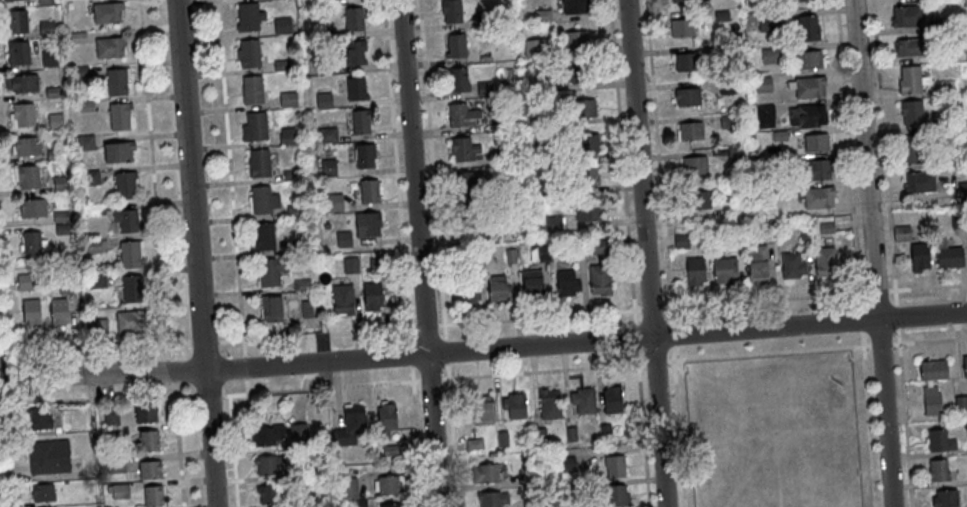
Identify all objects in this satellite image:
building: (273, 0)
building: (342, 0)
building: (14, 1)
building: (928, 1)
building: (687, 2)
building: (795, 2)
building: (44, 3)
building: (324, 3)
building: (574, 8)
building: (451, 13)
building: (107, 15)
building: (542, 17)
building: (721, 18)
building: (906, 19)
building: (248, 20)
building: (485, 21)
building: (353, 22)
building: (767, 23)
building: (16, 24)
building: (945, 27)
building: (281, 28)
building: (46, 31)
building: (682, 31)
building: (807, 31)
building: (327, 36)
building: (78, 39)
building: (575, 43)
building: (456, 49)
building: (109, 50)
building: (534, 50)
building: (910, 50)
building: (713, 52)
building: (17, 56)
building: (353, 56)
building: (248, 57)
building: (770, 58)
building: (50, 63)
building: (809, 63)
building: (686, 65)
building: (281, 67)
building: (328, 69)
building: (80, 74)
building: (581, 77)
building: (457, 82)
building: (911, 83)
building: (115, 85)
building: (545, 85)
building: (24, 86)
building: (763, 87)
building: (726, 89)
building: (806, 89)
building: (944, 90)
building: (484, 91)
building: (356, 92)
building: (252, 93)
building: (53, 94)
building: (687, 100)
building: (287, 102)
building: (324, 103)
building: (85, 108)
building: (582, 112)
building: (911, 115)
building: (23, 117)
building: (461, 118)
building: (804, 118)
building: (119, 119)
building: (764, 119)
building: (55, 123)
building: (360, 124)
building: (511, 124)
building: (728, 124)
building: (940, 128)
building: (254, 130)
building: (690, 135)
building: (326, 137)
building: (287, 138)
building: (780, 138)
building: (85, 144)
road: (883, 144)
building: (586, 146)
building: (815, 146)
building: (27, 149)
building: (462, 151)
building: (913, 151)
building: (551, 152)
road: (848, 152)
building: (118, 154)
building: (508, 155)
building: (53, 156)
building: (735, 157)
building: (364, 159)
road: (657, 159)
road: (622, 160)
building: (944, 162)
building: (259, 166)
building: (328, 166)
road: (432, 168)
road: (396, 169)
building: (694, 169)
building: (816, 172)
road: (229, 177)
building: (290, 177)
road: (153, 179)
building: (28, 180)
building: (90, 180)
building: (585, 180)
building: (60, 185)
building: (919, 185)
building: (465, 186)
building: (124, 188)
building: (548, 189)
building: (963, 191)
building: (501, 192)
building: (369, 195)
building: (818, 200)
building: (263, 203)
building: (697, 203)
building: (333, 209)
building: (32, 211)
building: (295, 213)
building: (84, 214)
building: (587, 215)
building: (60, 218)
building: (467, 221)
building: (126, 223)
building: (553, 224)
building: (367, 227)
building: (826, 230)
building: (61, 231)
building: (804, 234)
building: (902, 236)
building: (767, 237)
building: (263, 240)
building: (733, 240)
building: (348, 241)
building: (681, 243)
building: (32, 247)
building: (300, 248)
building: (578, 252)
road: (195, 253)
road: (418, 253)
road: (645, 253)
road: (873, 253)
building: (543, 255)
building: (129, 257)
building: (510, 257)
building: (919, 260)
building: (464, 261)
building: (949, 261)
building: (756, 264)
building: (824, 264)
building: (349, 268)
building: (376, 268)
building: (791, 268)
building: (271, 273)
building: (599, 273)
building: (724, 273)
building: (694, 274)
building: (97, 283)
building: (24, 284)
building: (531, 285)
building: (66, 286)
building: (566, 286)
road: (927, 286)
building: (301, 287)
road: (876, 289)
building: (496, 290)
building: (131, 291)
building: (469, 292)
road: (895, 296)
road: (763, 298)
building: (371, 300)
building: (342, 302)
road: (650, 306)
road: (4, 307)
building: (270, 311)
building: (305, 311)
building: (58, 315)
road: (538, 315)
road: (897, 315)
building: (30, 316)
road: (861, 318)
road: (425, 323)
building: (130, 324)
building: (99, 329)
road: (671, 332)
road: (315, 333)
road: (635, 335)
road: (929, 339)
road: (203, 341)
road: (95, 344)
road: (880, 344)
road: (518, 346)
road: (445, 350)
road: (409, 352)
road: (767, 352)
road: (637, 355)
road: (655, 360)
road: (244, 365)
road: (542, 369)
road: (170, 370)
building: (964, 370)
road: (4, 371)
road: (35, 373)
building: (932, 374)
road: (429, 377)
road: (246, 384)
road: (320, 386)
road: (208, 394)
road: (184, 396)
road: (87, 398)
building: (583, 403)
building: (611, 403)
building: (931, 404)
building: (960, 406)
building: (549, 407)
building: (514, 408)
building: (146, 414)
building: (482, 414)
road: (904, 417)
building: (38, 418)
road: (868, 419)
building: (385, 422)
road: (678, 425)
building: (349, 430)
building: (298, 434)
building: (604, 434)
road: (643, 434)
road: (452, 435)
road: (416, 436)
building: (571, 436)
building: (538, 437)
building: (267, 438)
building: (149, 440)
building: (501, 441)
road: (177, 444)
building: (939, 444)
building: (474, 446)
road: (233, 450)
building: (390, 450)
building: (48, 457)
road: (3, 460)
building: (566, 466)
building: (268, 468)
building: (150, 469)
building: (318, 469)
building: (613, 470)
building: (938, 474)
building: (484, 477)
building: (534, 478)
building: (389, 488)
building: (348, 490)
building: (566, 491)
building: (43, 492)
building: (153, 495)
building: (267, 497)
building: (616, 498)
building: (492, 500)
building: (944, 500)
building: (302, 502)
building: (531, 503)
building: (391, 506)

